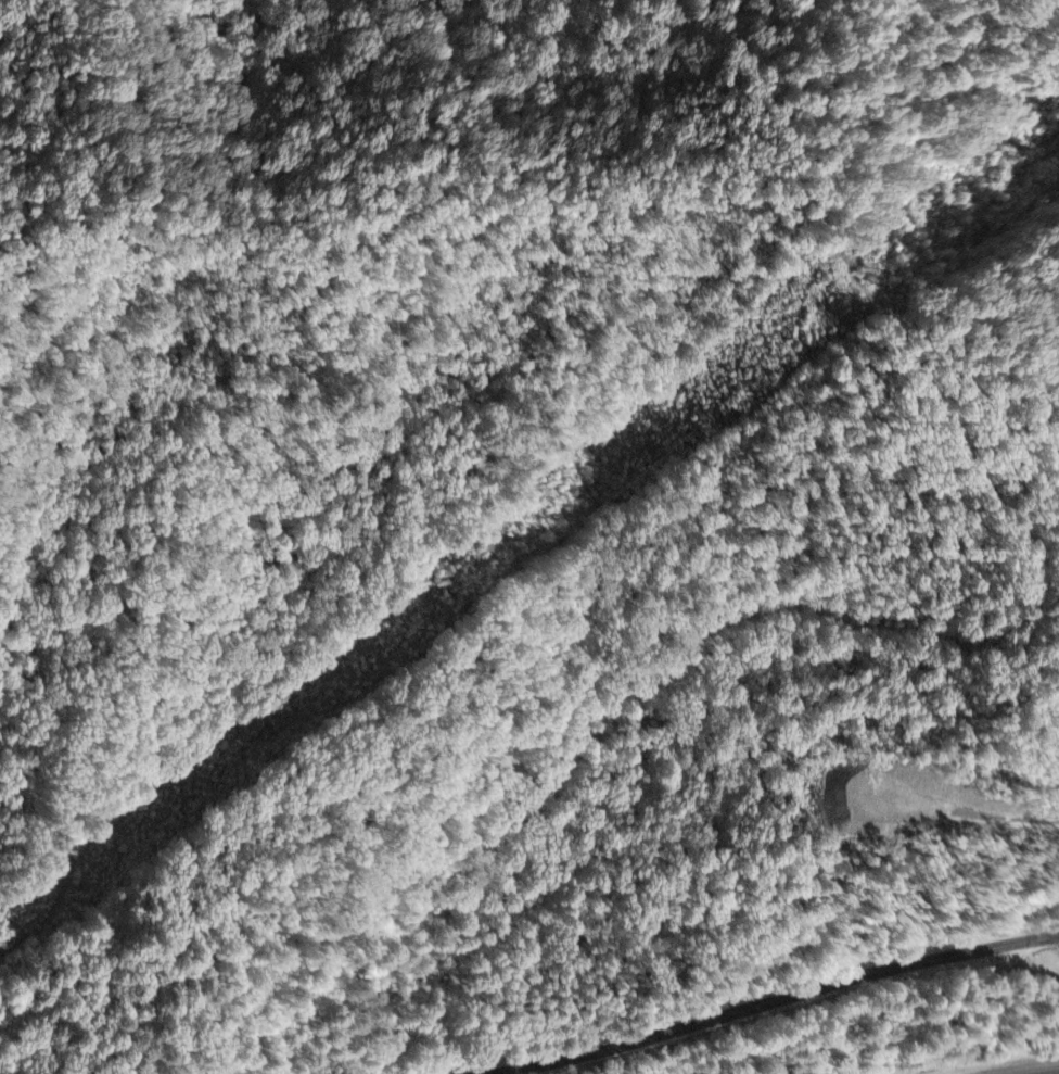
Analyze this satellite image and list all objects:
power tower: (814, 325)
power tower: (494, 574)
road: (778, 1000)

